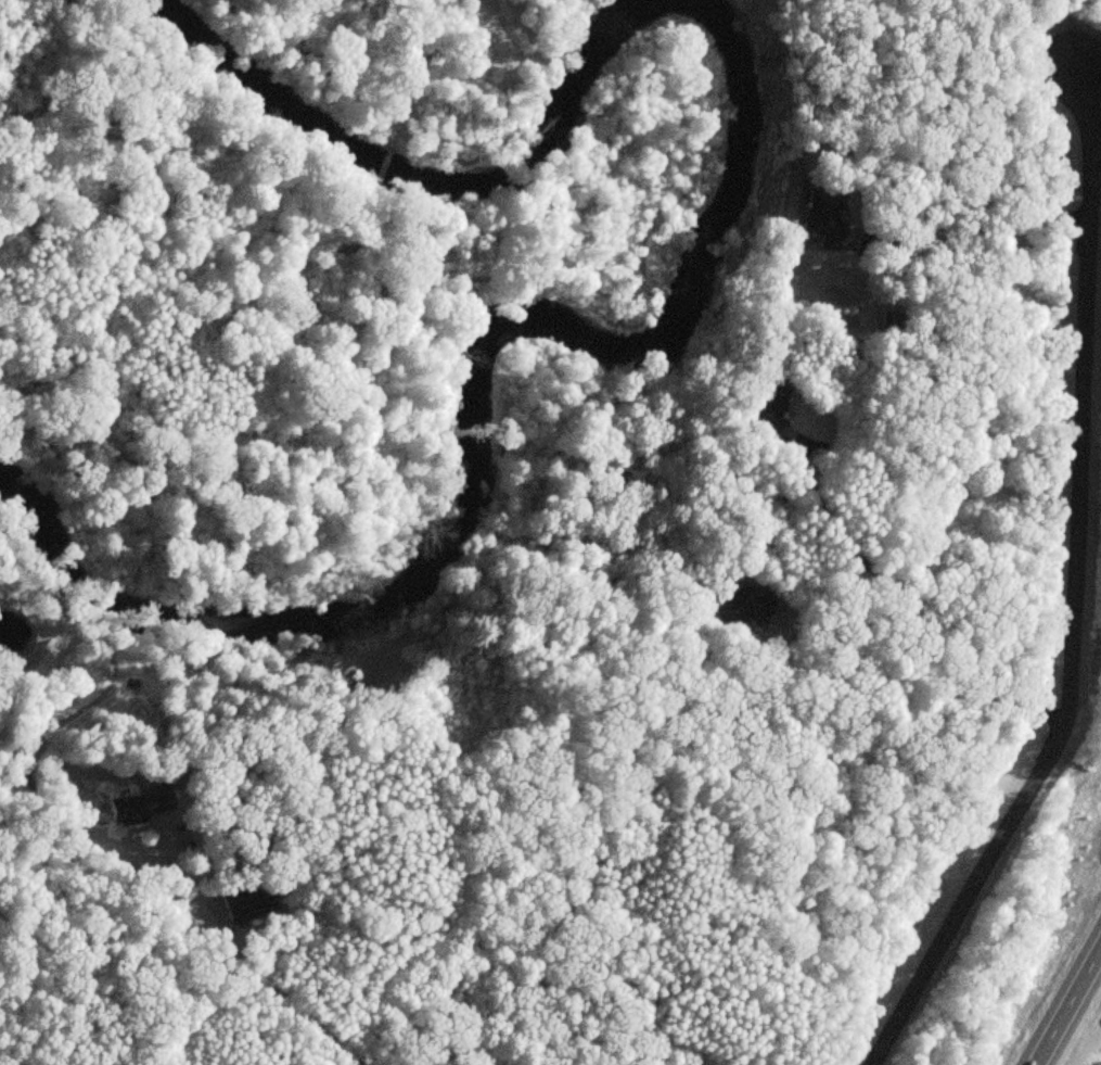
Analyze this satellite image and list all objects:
river: (420, 174)
building: (824, 219)
road: (990, 227)
building: (768, 404)
river: (471, 411)
building: (447, 583)
road: (1070, 599)
road: (906, 607)
building: (744, 610)
road: (883, 739)
building: (140, 810)
road: (254, 980)
road: (1061, 998)
road: (436, 1056)

